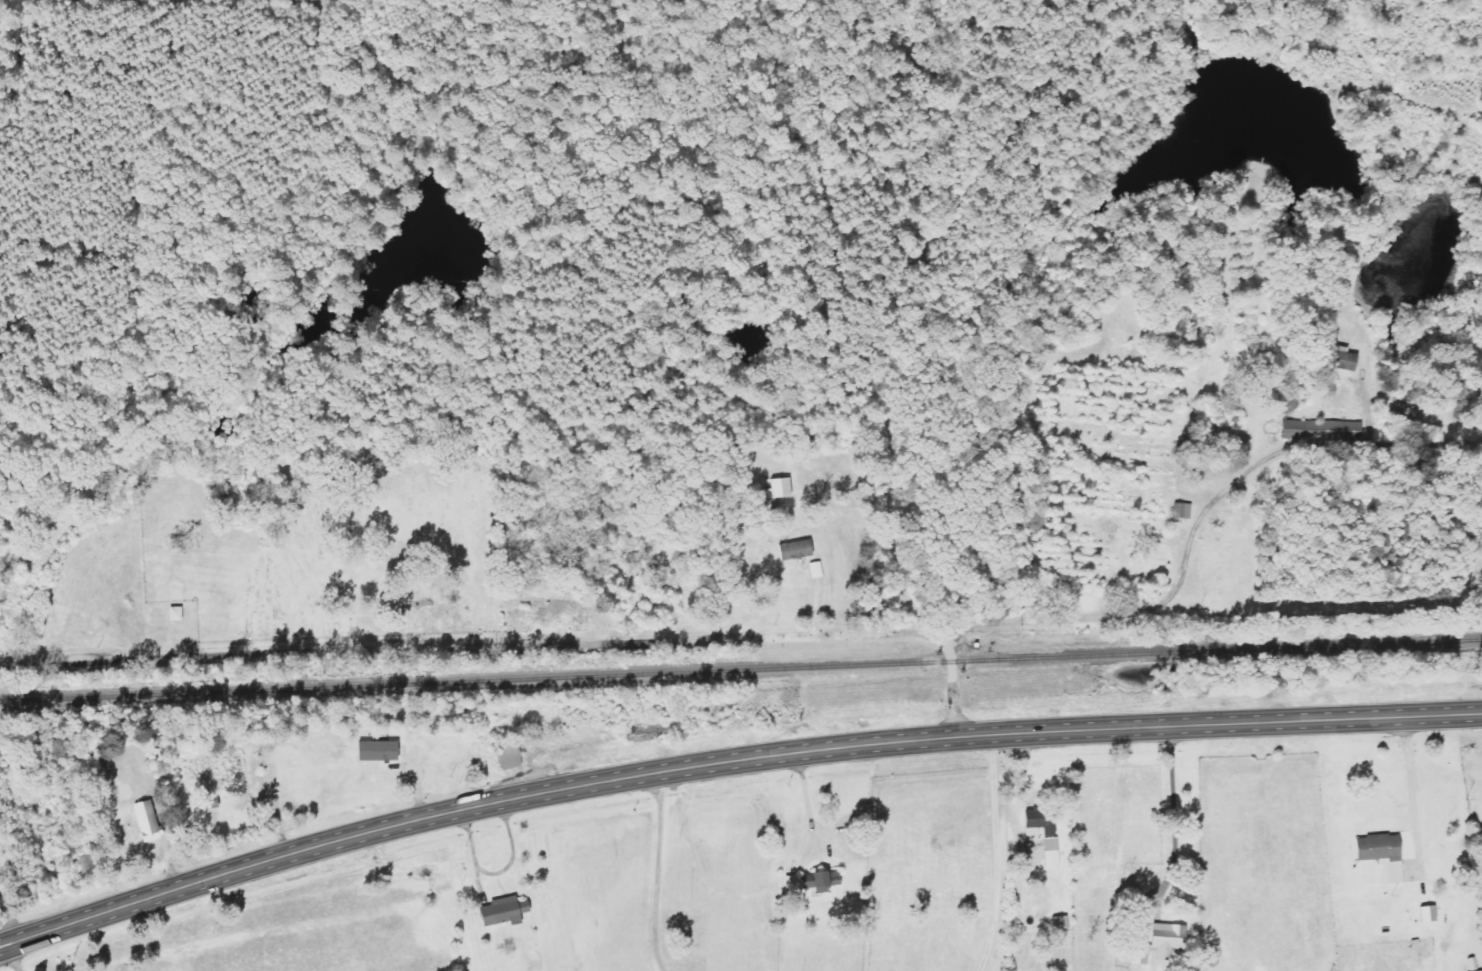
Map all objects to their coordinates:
building: (1345, 359)
building: (1324, 429)
building: (781, 489)
building: (1186, 511)
road: (1202, 520)
park: (376, 549)
building: (798, 550)
building: (818, 570)
building: (181, 614)
road: (474, 648)
railway: (741, 668)
road: (955, 681)
building: (385, 751)
road: (729, 761)
building: (153, 822)
building: (1042, 824)
building: (1053, 851)
building: (1384, 854)
building: (91, 866)
road: (657, 872)
building: (829, 880)
building: (511, 909)
building: (1428, 914)
building: (1060, 924)
building: (1161, 943)

